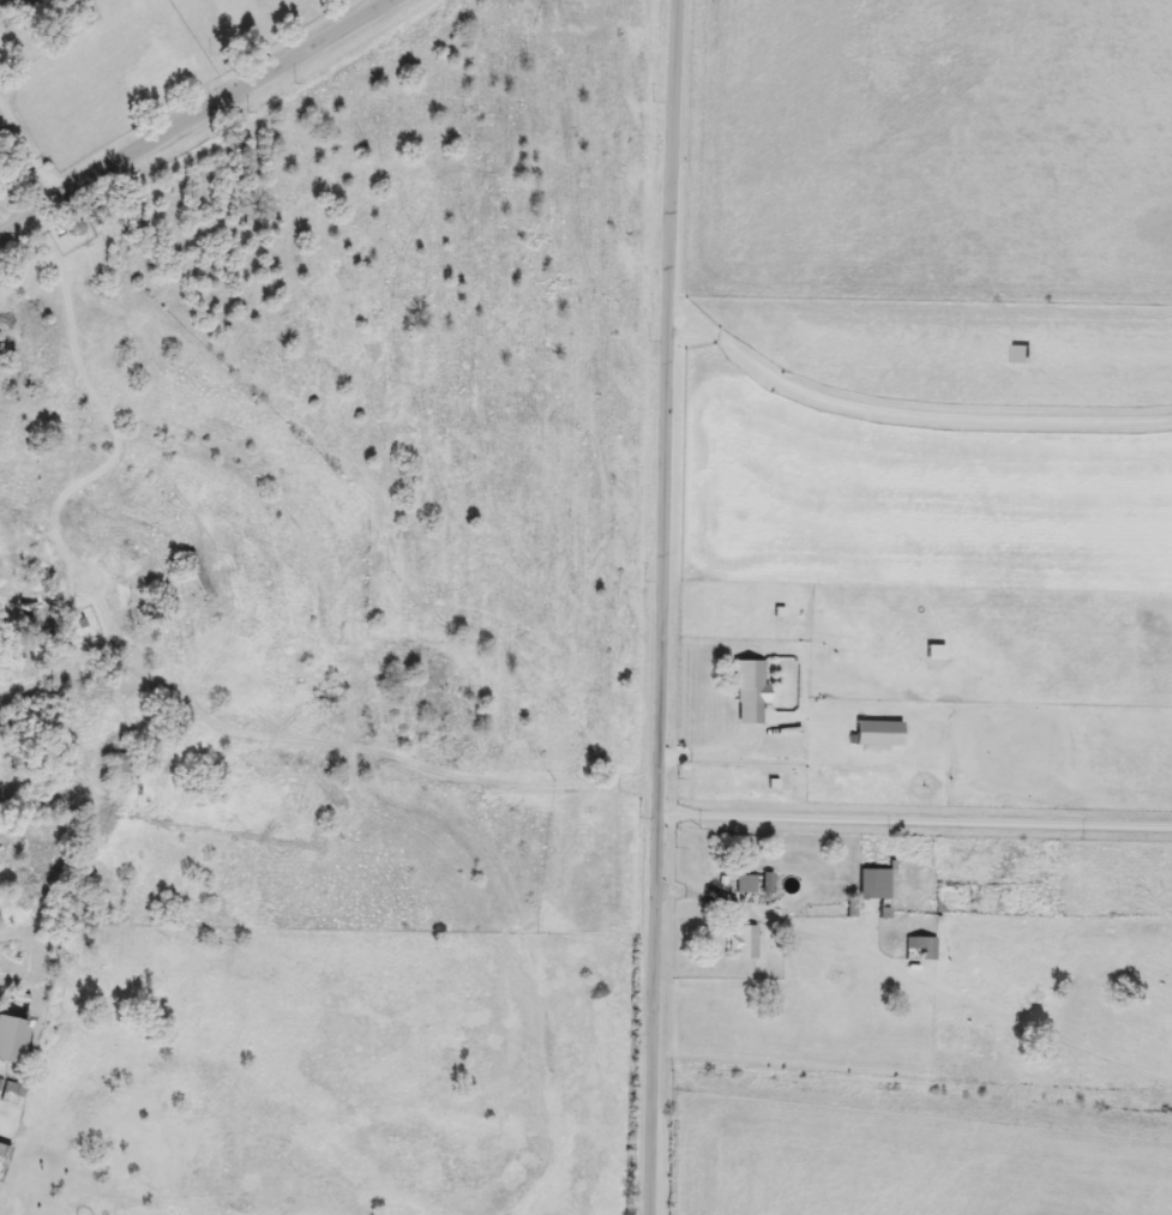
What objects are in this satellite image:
road: (205, 118)
road: (28, 151)
road: (4, 236)
road: (902, 415)
building: (199, 577)
road: (656, 607)
building: (30, 613)
building: (751, 692)
building: (880, 734)
building: (122, 762)
road: (914, 820)
building: (743, 884)
building: (875, 884)
road: (767, 918)
building: (744, 943)
building: (921, 949)
building: (13, 1040)
building: (13, 1094)
building: (4, 1160)

